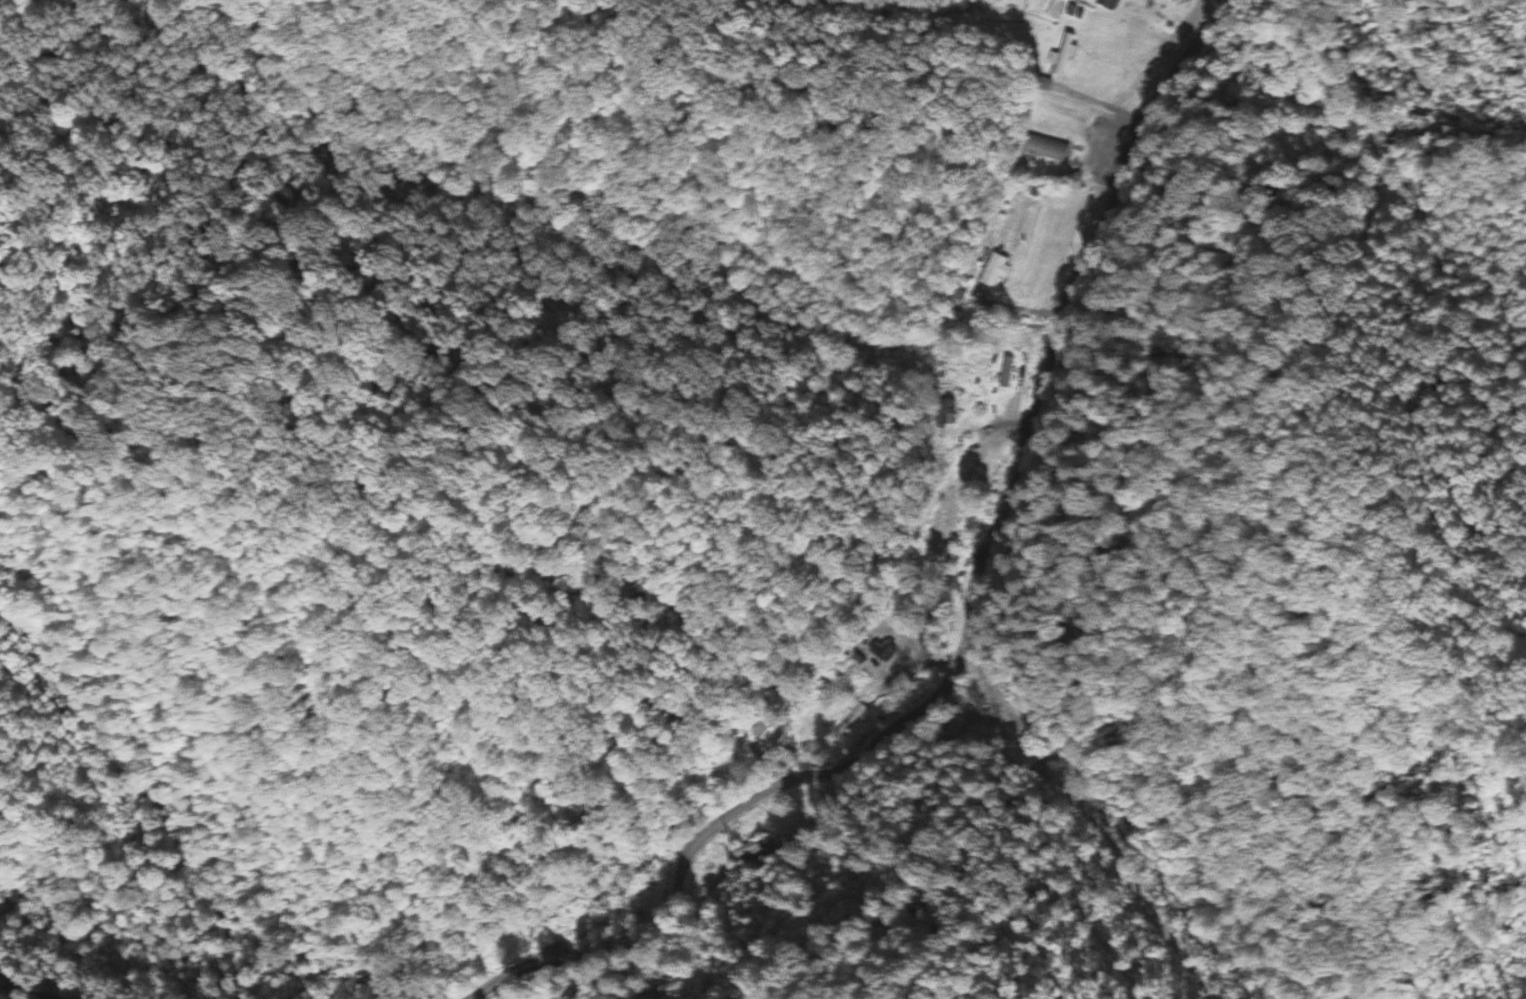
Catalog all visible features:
building: (1114, 3)
building: (1067, 54)
building: (1052, 149)
building: (1001, 270)
building: (1010, 372)
road: (963, 618)
building: (890, 650)
building: (855, 720)
road: (97, 948)

